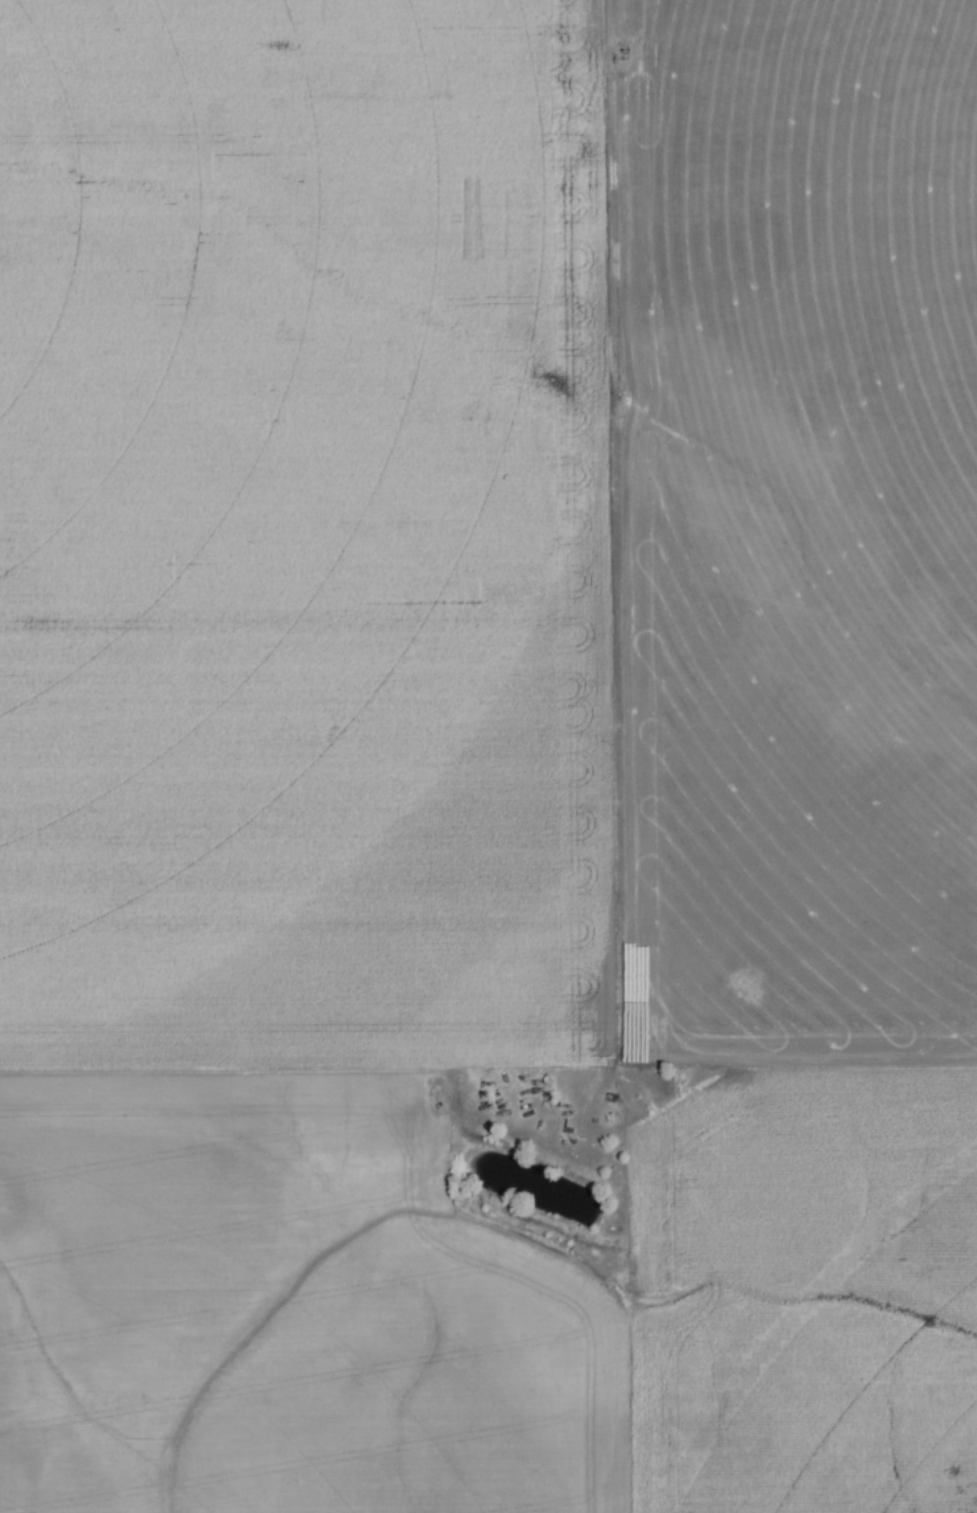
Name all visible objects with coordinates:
railway: (488, 55)

